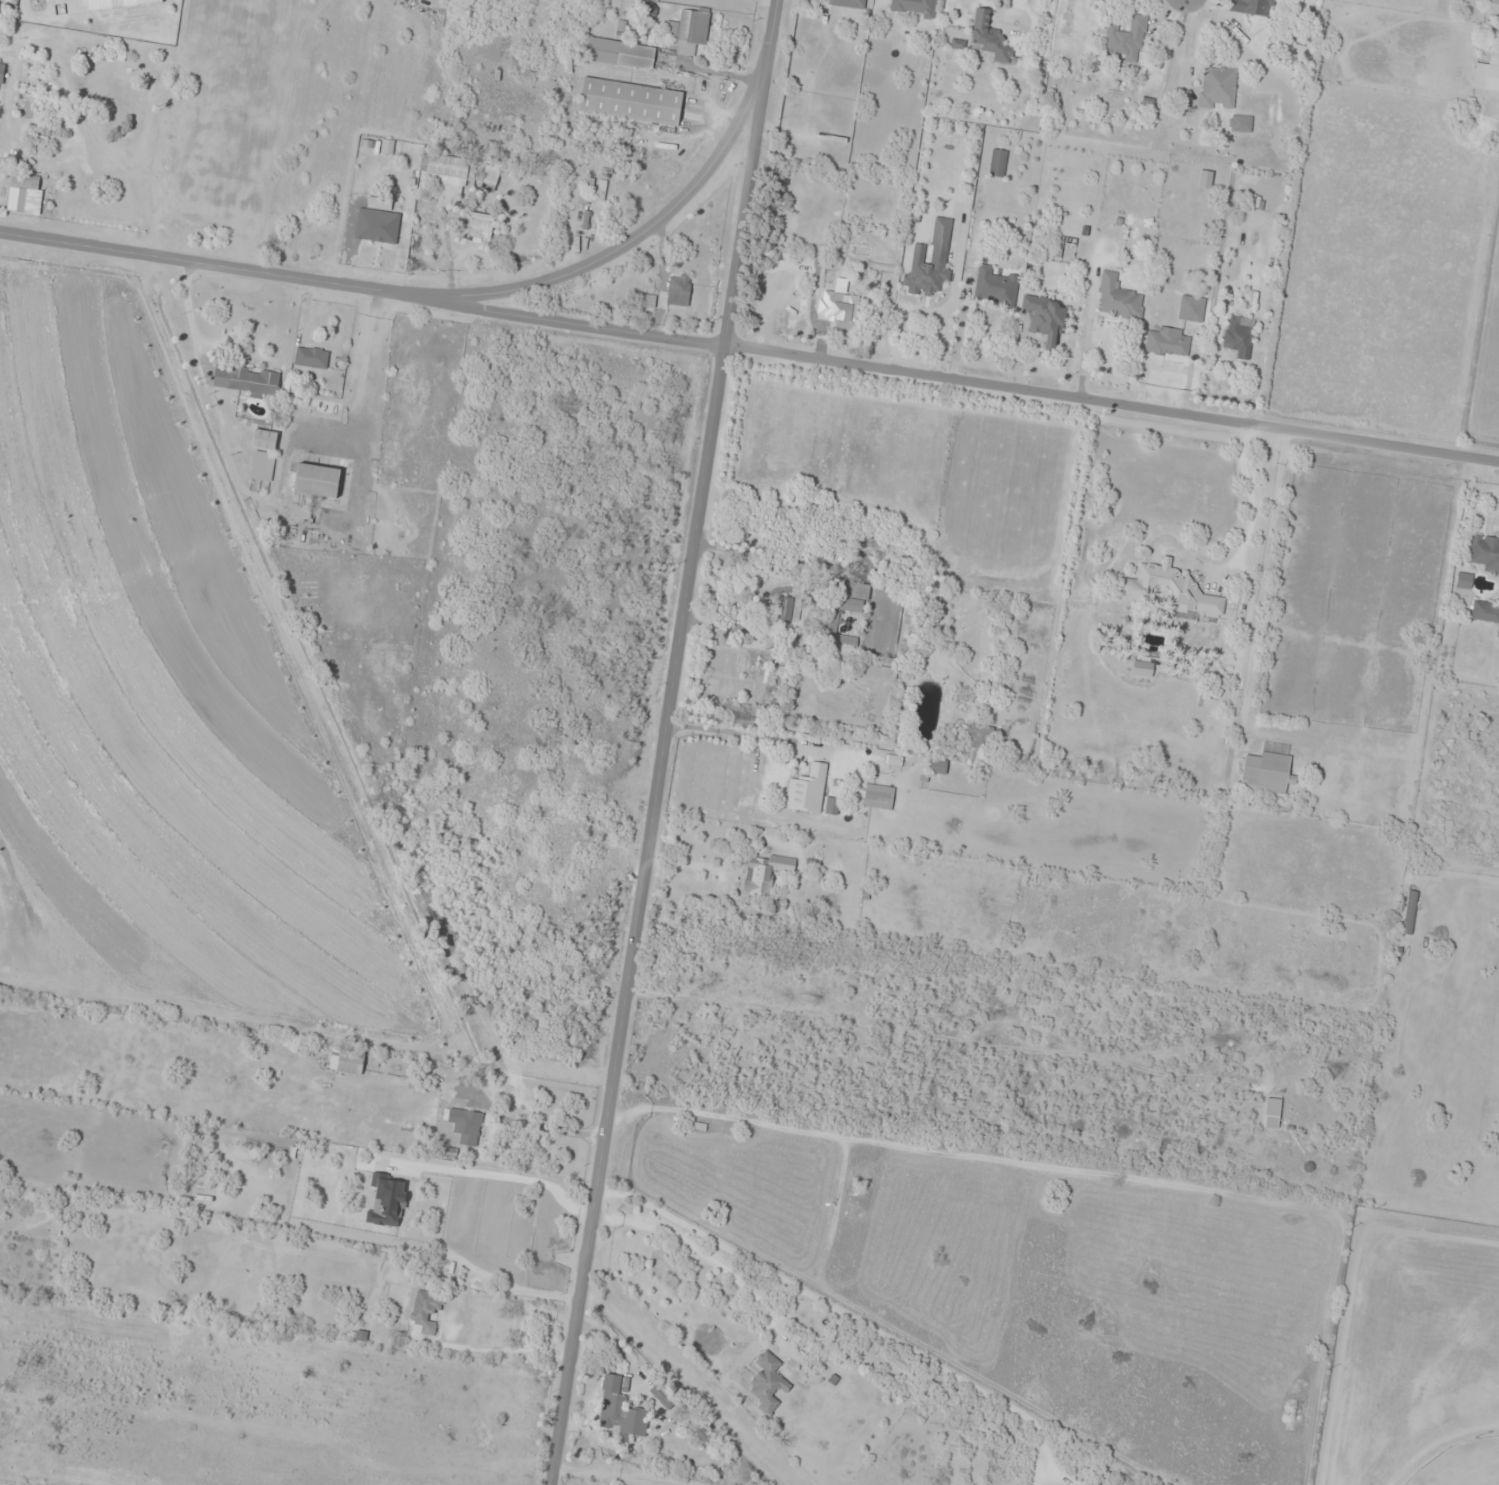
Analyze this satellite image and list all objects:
building: (1248, 7)
building: (1494, 7)
building: (914, 8)
building: (691, 32)
building: (989, 38)
building: (1127, 40)
building: (620, 54)
building: (2, 74)
building: (1487, 76)
building: (1218, 89)
building: (631, 103)
building: (120, 104)
building: (998, 164)
building: (448, 174)
building: (491, 178)
building: (25, 195)
building: (600, 200)
building: (377, 226)
building: (480, 228)
road: (633, 242)
building: (931, 262)
building: (845, 268)
building: (995, 287)
road: (361, 289)
building: (679, 290)
building: (1118, 299)
building: (844, 309)
building: (1192, 309)
building: (1045, 319)
building: (1240, 337)
building: (1167, 343)
building: (312, 358)
building: (247, 381)
road: (1110, 404)
building: (325, 405)
building: (264, 440)
building: (263, 467)
building: (317, 481)
building: (1485, 552)
building: (1464, 580)
building: (1179, 587)
building: (852, 597)
building: (785, 609)
building: (1485, 612)
building: (879, 673)
building: (979, 738)
road: (662, 742)
building: (937, 767)
building: (1267, 770)
building: (807, 790)
building: (879, 797)
building: (832, 806)
building: (812, 871)
building: (765, 874)
building: (1410, 913)
building: (347, 1062)
road: (735, 1083)
building: (1272, 1115)
building: (466, 1127)
building: (418, 1174)
building: (503, 1265)
building: (427, 1311)
building: (768, 1383)
building: (929, 1386)
building: (620, 1409)
park: (1463, 1464)

